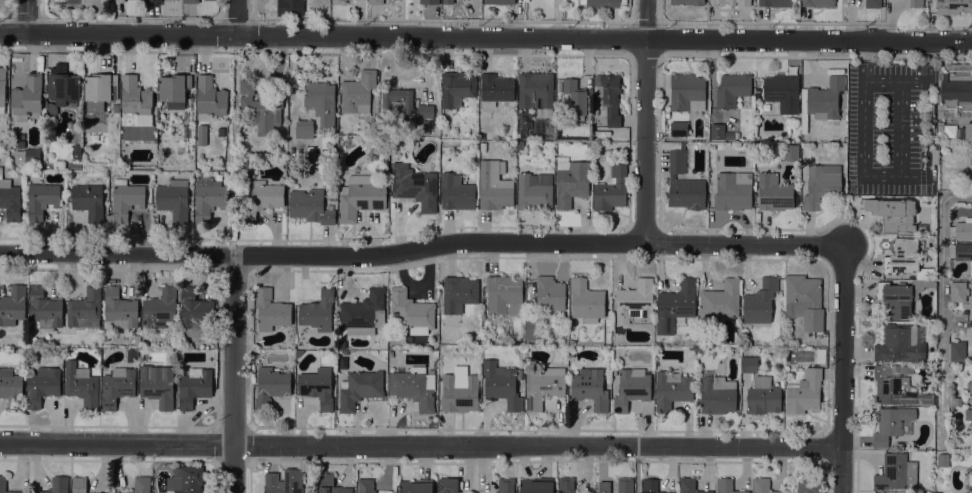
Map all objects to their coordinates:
building: (153, 0)
building: (211, 0)
building: (117, 1)
building: (190, 1)
building: (339, 2)
building: (375, 2)
building: (429, 2)
building: (447, 2)
building: (499, 2)
building: (687, 2)
building: (730, 2)
building: (601, 3)
building: (775, 3)
building: (817, 3)
building: (915, 3)
building: (873, 4)
building: (953, 6)
building: (290, 8)
road: (9, 11)
road: (27, 16)
road: (240, 19)
road: (485, 39)
road: (930, 61)
road: (897, 81)
building: (456, 88)
building: (2, 89)
building: (63, 89)
building: (174, 89)
building: (496, 89)
building: (535, 90)
building: (732, 90)
building: (100, 91)
building: (954, 91)
building: (687, 92)
building: (782, 92)
building: (358, 93)
building: (27, 97)
building: (210, 97)
building: (574, 97)
building: (610, 97)
building: (136, 100)
building: (320, 101)
building: (397, 101)
building: (821, 101)
building: (116, 108)
building: (259, 109)
building: (425, 111)
road: (649, 122)
building: (424, 127)
road: (900, 128)
building: (304, 129)
building: (678, 129)
building: (946, 130)
building: (717, 132)
building: (966, 132)
building: (75, 134)
building: (202, 135)
building: (731, 135)
building: (481, 137)
building: (349, 142)
building: (21, 144)
building: (519, 146)
building: (483, 147)
building: (443, 150)
building: (790, 151)
building: (31, 153)
building: (77, 153)
building: (971, 154)
building: (59, 165)
building: (380, 173)
road: (875, 176)
building: (570, 181)
building: (683, 181)
building: (821, 184)
building: (414, 186)
building: (494, 186)
building: (611, 189)
building: (534, 191)
building: (733, 191)
building: (456, 193)
building: (773, 193)
building: (361, 197)
building: (208, 199)
building: (262, 199)
building: (10, 200)
building: (41, 200)
building: (125, 200)
building: (173, 200)
building: (88, 201)
building: (310, 206)
building: (892, 213)
building: (964, 229)
road: (420, 249)
building: (964, 253)
building: (902, 257)
building: (958, 292)
building: (459, 293)
building: (550, 294)
building: (504, 295)
building: (901, 296)
building: (721, 300)
building: (586, 301)
building: (804, 301)
building: (635, 302)
building: (760, 302)
building: (12, 306)
building: (675, 306)
road: (941, 306)
building: (45, 308)
building: (160, 308)
building: (85, 309)
building: (119, 309)
building: (271, 310)
building: (317, 311)
building: (412, 312)
building: (363, 313)
building: (194, 314)
building: (532, 329)
building: (105, 336)
building: (900, 343)
building: (957, 351)
building: (298, 353)
building: (821, 355)
building: (748, 365)
road: (843, 370)
road: (233, 374)
building: (502, 384)
building: (81, 385)
building: (157, 385)
building: (42, 386)
building: (117, 386)
building: (194, 387)
building: (270, 387)
building: (317, 387)
building: (544, 387)
building: (11, 388)
building: (413, 388)
building: (590, 388)
building: (631, 388)
building: (896, 388)
building: (360, 389)
building: (672, 390)
building: (460, 391)
building: (971, 391)
building: (804, 393)
building: (717, 395)
building: (763, 396)
building: (953, 402)
building: (968, 414)
building: (890, 424)
road: (422, 447)
building: (943, 460)
building: (895, 473)
building: (185, 480)
building: (284, 482)
building: (970, 482)
building: (3, 483)
building: (79, 484)
building: (330, 484)
building: (57, 485)
building: (142, 485)
building: (365, 485)
building: (447, 485)
building: (505, 485)
building: (536, 485)
building: (566, 485)
building: (625, 485)
building: (762, 485)
building: (808, 485)
building: (416, 486)
building: (650, 486)
building: (689, 486)
building: (726, 486)
building: (602, 487)
building: (105, 492)
building: (937, 492)

